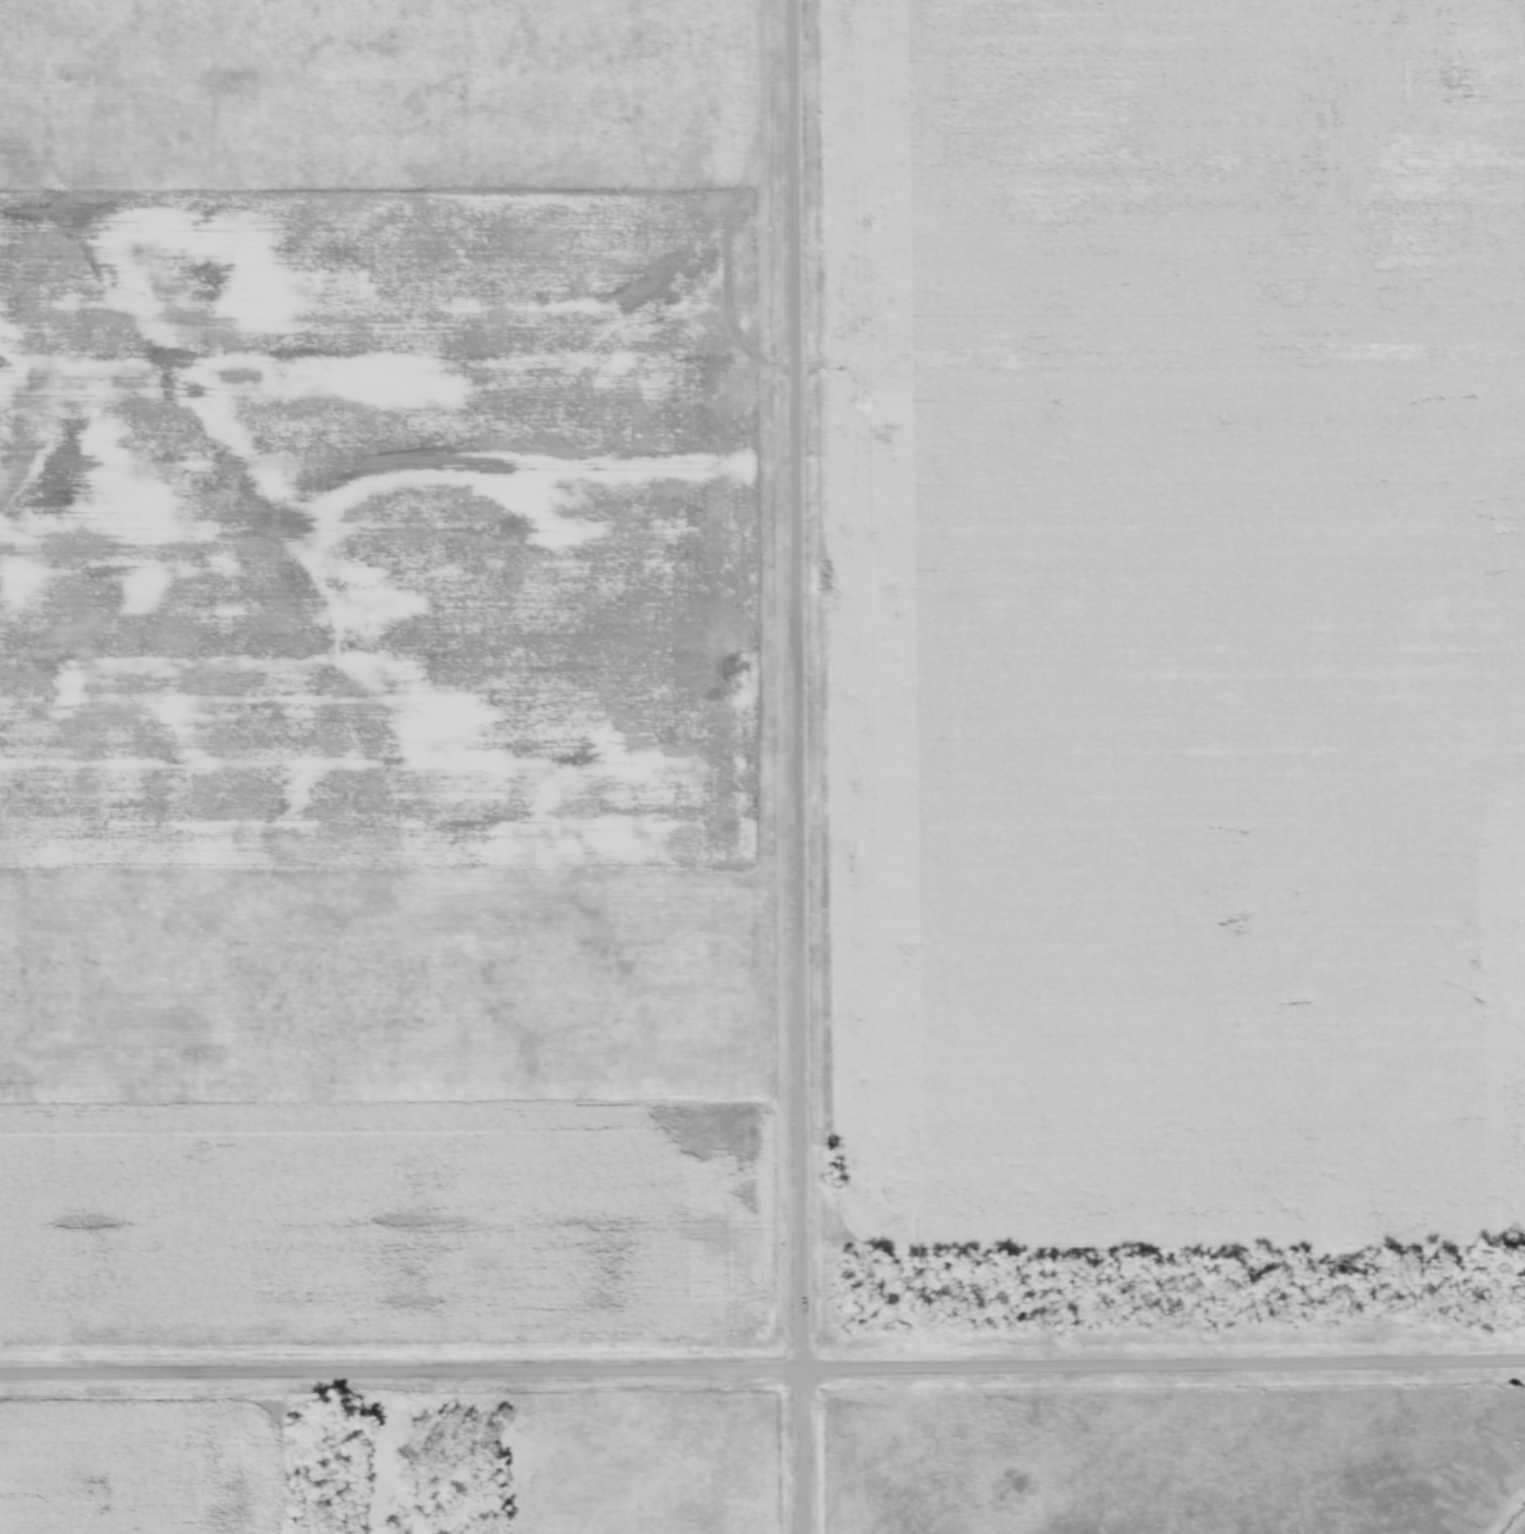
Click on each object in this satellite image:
road: (799, 767)
road: (762, 1368)

